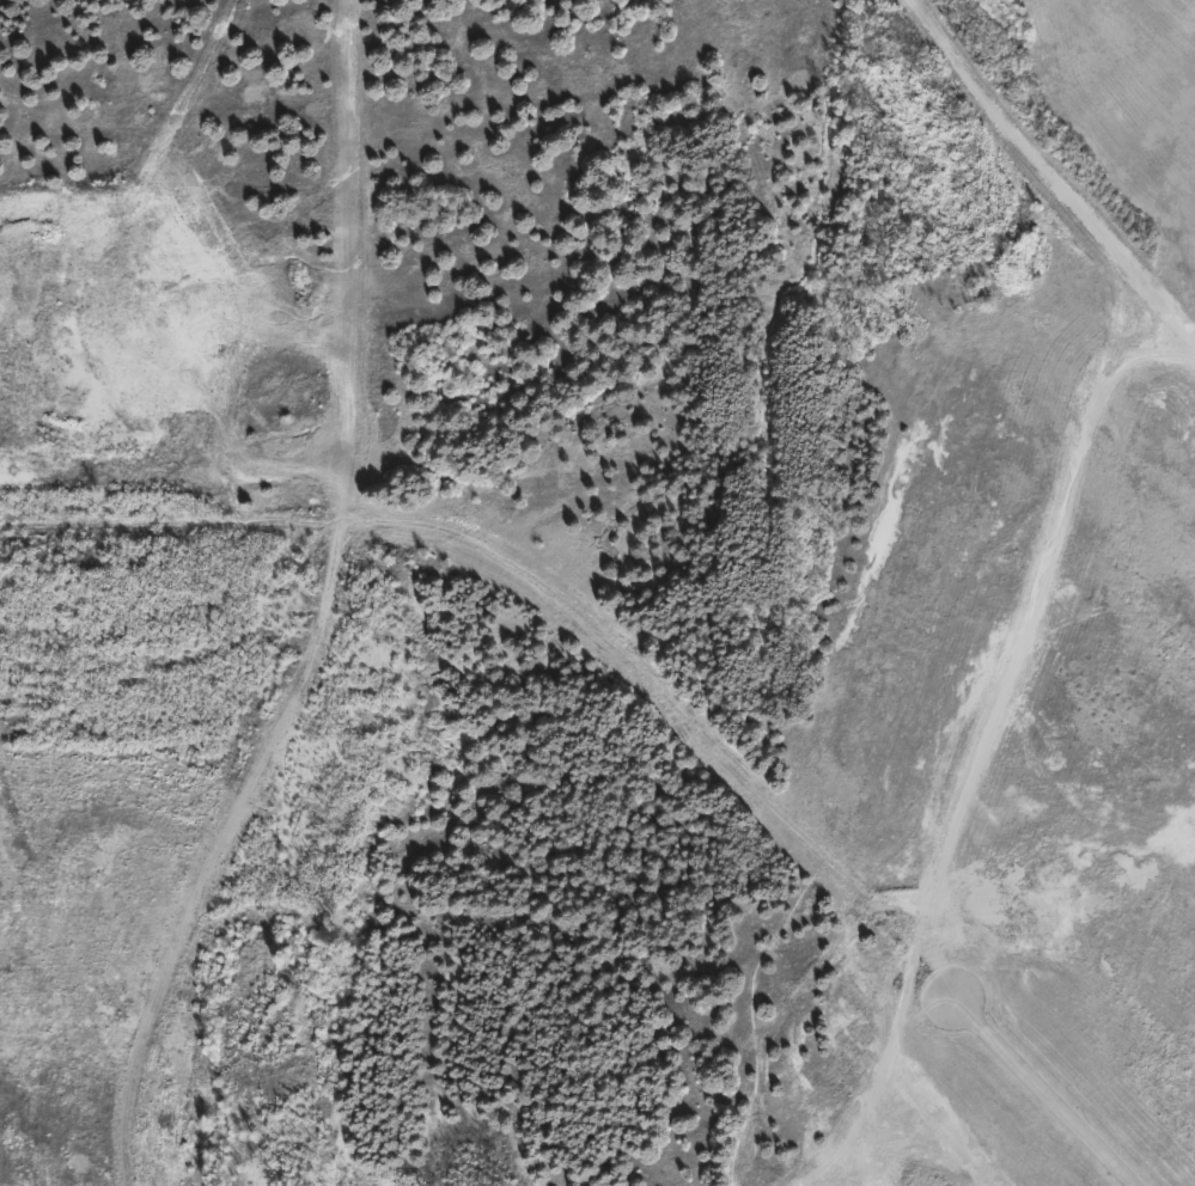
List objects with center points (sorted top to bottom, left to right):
airport: (597, 593)
road: (1043, 1094)

